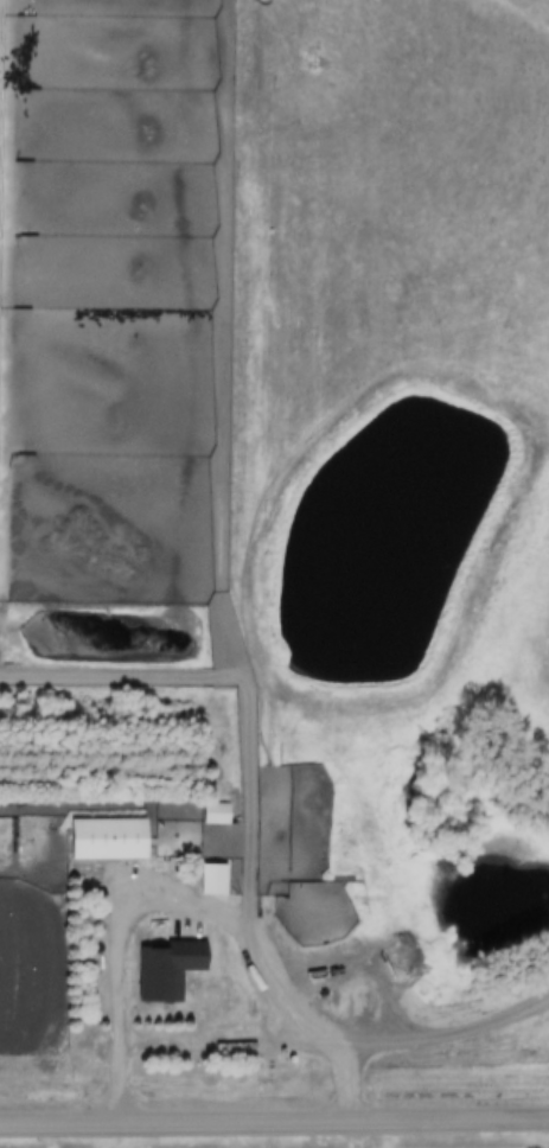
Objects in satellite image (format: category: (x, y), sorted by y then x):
building: (219, 815)
building: (111, 838)
building: (216, 879)
road: (117, 1008)
road: (274, 1127)

